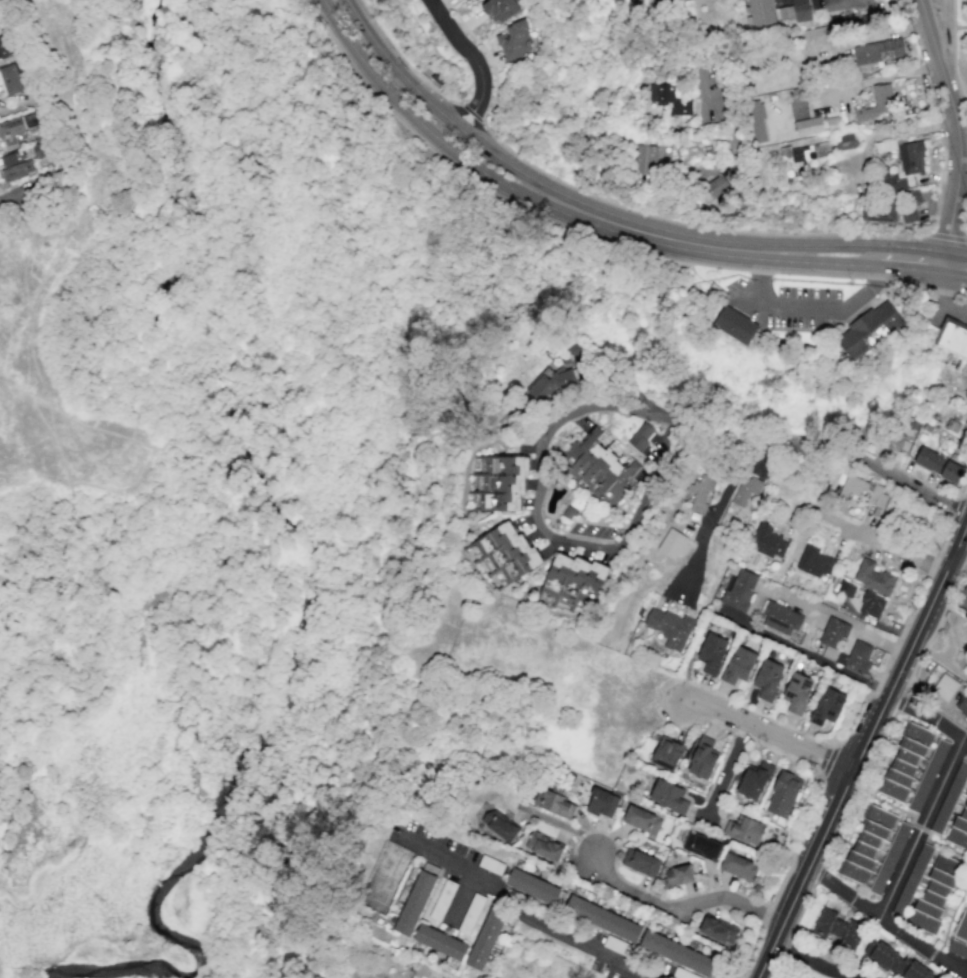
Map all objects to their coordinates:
building: (463, 0)
building: (662, 0)
building: (845, 4)
building: (499, 9)
building: (801, 10)
building: (766, 13)
road: (790, 36)
building: (515, 41)
road: (945, 44)
road: (463, 46)
building: (2, 49)
building: (878, 51)
road: (402, 59)
road: (952, 60)
building: (10, 79)
building: (669, 99)
building: (877, 103)
road: (459, 108)
road: (440, 112)
road: (470, 112)
road: (473, 119)
building: (756, 121)
road: (423, 123)
building: (808, 126)
road: (956, 128)
building: (14, 129)
building: (848, 140)
building: (806, 153)
building: (911, 158)
building: (646, 160)
building: (15, 165)
building: (900, 189)
building: (714, 191)
road: (960, 199)
road: (12, 206)
building: (878, 212)
building: (908, 215)
road: (963, 220)
road: (740, 232)
road: (655, 235)
road: (946, 235)
road: (591, 236)
road: (818, 245)
road: (909, 258)
road: (818, 262)
road: (954, 263)
road: (757, 264)
road: (870, 289)
road: (942, 296)
parking lot: (784, 305)
road: (788, 309)
parking lot: (958, 312)
parking lot: (945, 317)
building: (734, 325)
building: (870, 329)
building: (952, 338)
building: (549, 382)
road: (617, 384)
building: (965, 394)
road: (655, 413)
building: (640, 436)
park: (777, 436)
road: (818, 446)
road: (189, 455)
building: (598, 465)
building: (938, 465)
building: (498, 480)
building: (745, 490)
building: (862, 490)
road: (965, 490)
road: (140, 501)
road: (956, 509)
building: (569, 512)
road: (717, 516)
road: (549, 534)
building: (767, 541)
road: (876, 542)
building: (671, 543)
building: (502, 554)
river: (331, 559)
building: (813, 561)
road: (959, 561)
building: (873, 577)
building: (569, 583)
building: (846, 588)
building: (738, 590)
building: (962, 598)
building: (871, 605)
road: (752, 607)
building: (780, 618)
building: (669, 628)
road: (810, 630)
building: (832, 637)
road: (898, 639)
building: (711, 654)
building: (855, 657)
building: (738, 665)
building: (767, 679)
building: (944, 687)
building: (797, 693)
building: (826, 706)
building: (962, 706)
road: (753, 712)
road: (930, 714)
road: (769, 737)
road: (865, 750)
building: (667, 753)
building: (702, 758)
road: (828, 761)
building: (904, 762)
road: (731, 764)
building: (928, 775)
building: (754, 780)
road: (946, 783)
road: (818, 792)
building: (783, 794)
building: (668, 796)
building: (554, 802)
building: (601, 803)
building: (641, 820)
building: (499, 825)
building: (958, 828)
building: (744, 830)
building: (866, 844)
building: (543, 846)
building: (701, 846)
building: (889, 858)
building: (640, 862)
building: (738, 867)
building: (677, 875)
road: (902, 877)
building: (912, 879)
building: (532, 886)
building: (934, 894)
building: (416, 899)
road: (677, 909)
building: (602, 918)
road: (887, 925)
building: (962, 926)
building: (837, 929)
building: (717, 930)
road: (555, 933)
building: (485, 937)
building: (439, 942)
building: (957, 949)
building: (676, 953)
building: (893, 960)
road: (811, 963)

